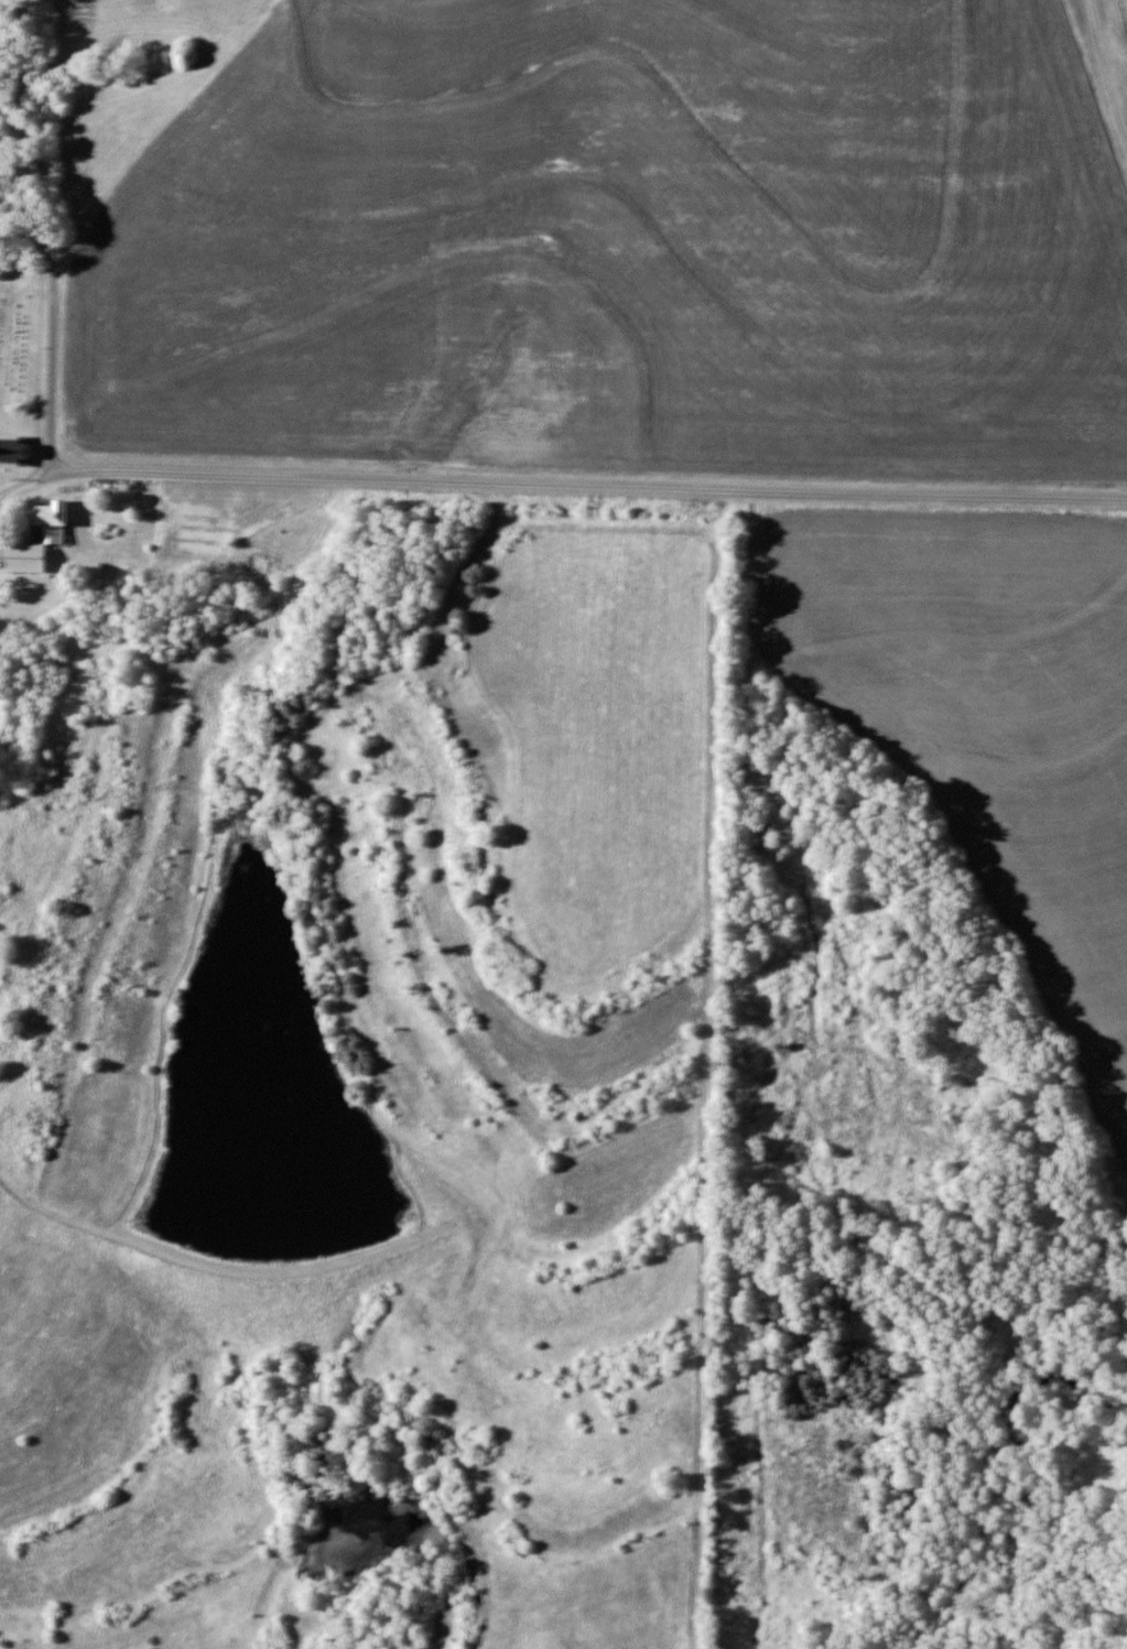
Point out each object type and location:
road: (1106, 68)
road: (45, 237)
park: (21, 322)
building: (14, 451)
road: (560, 484)
building: (39, 538)

